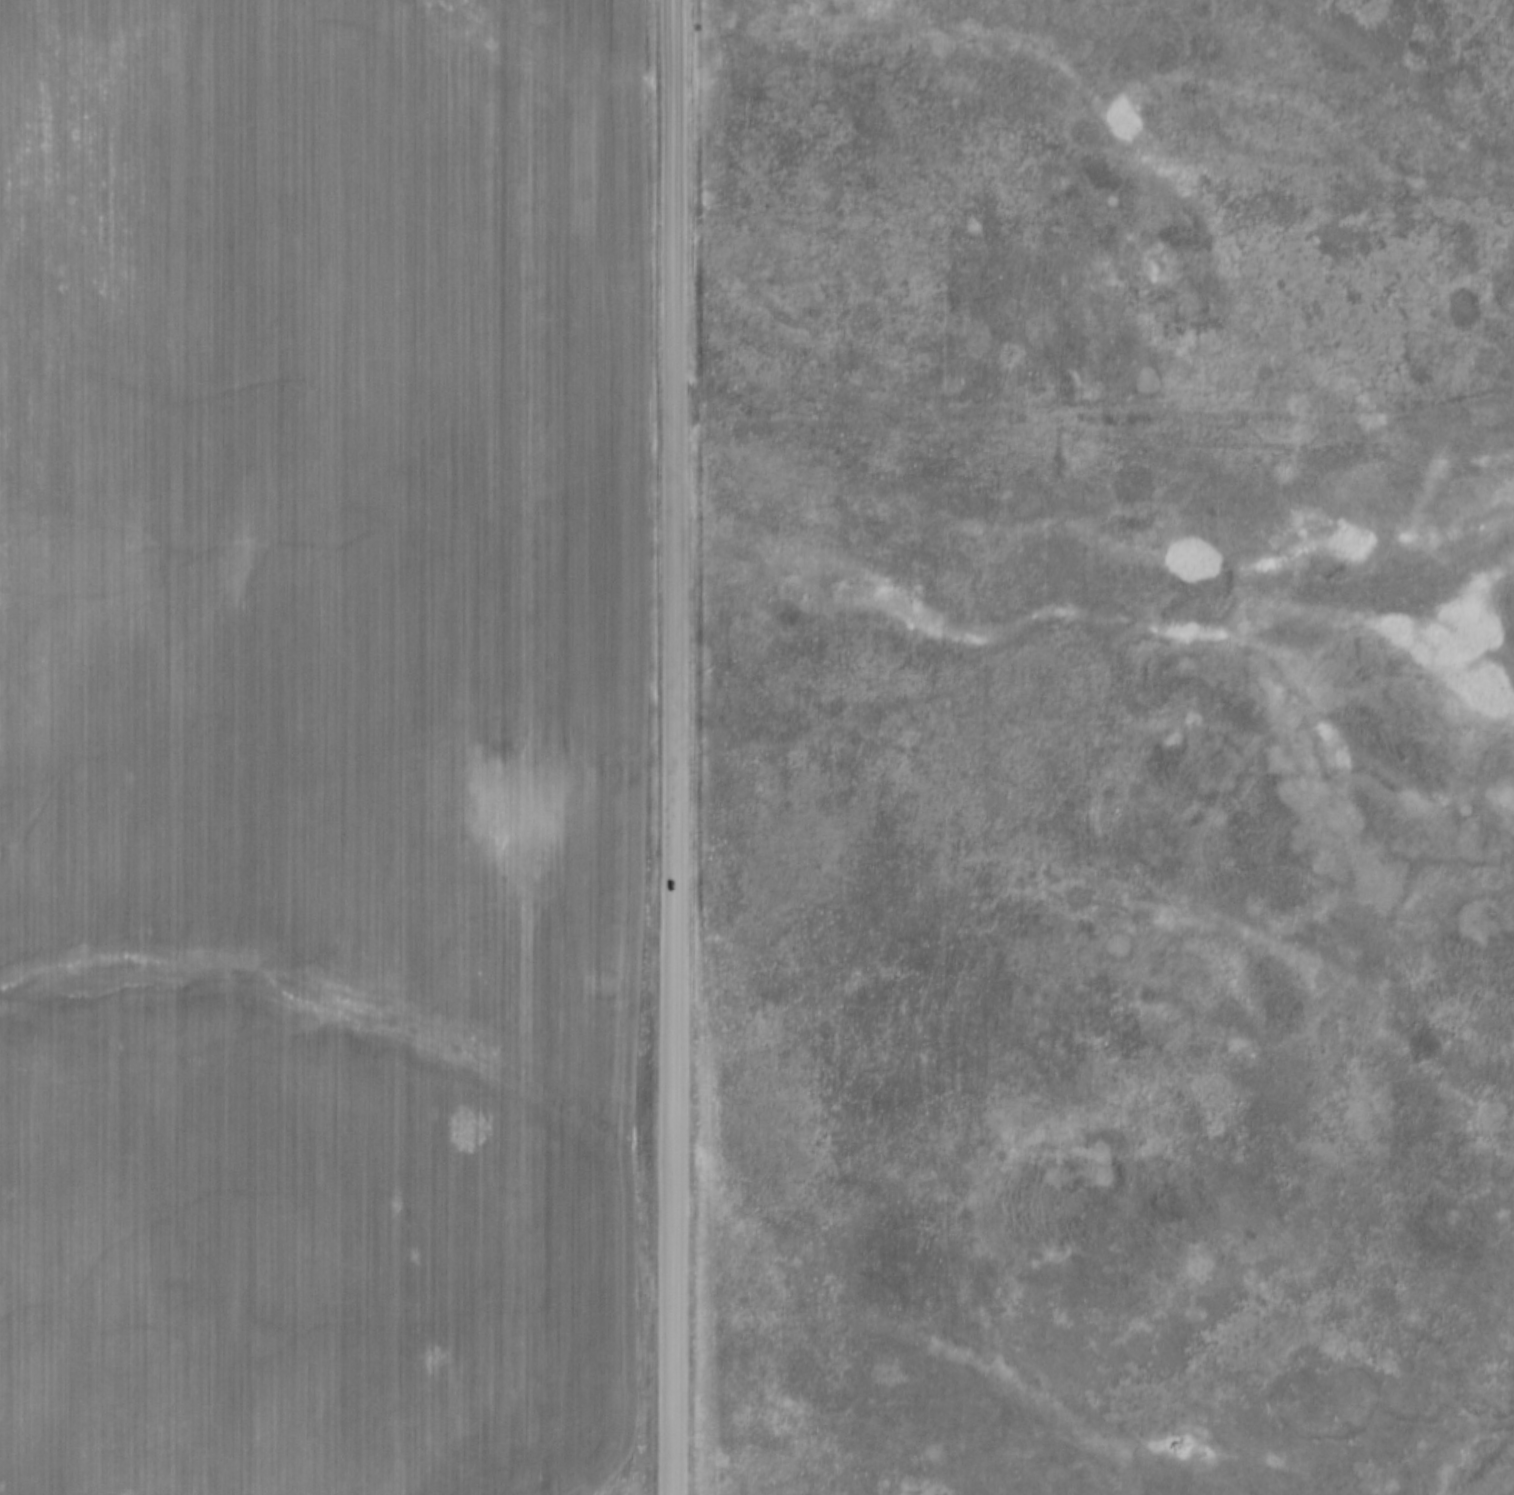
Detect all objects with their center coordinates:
road: (676, 747)

